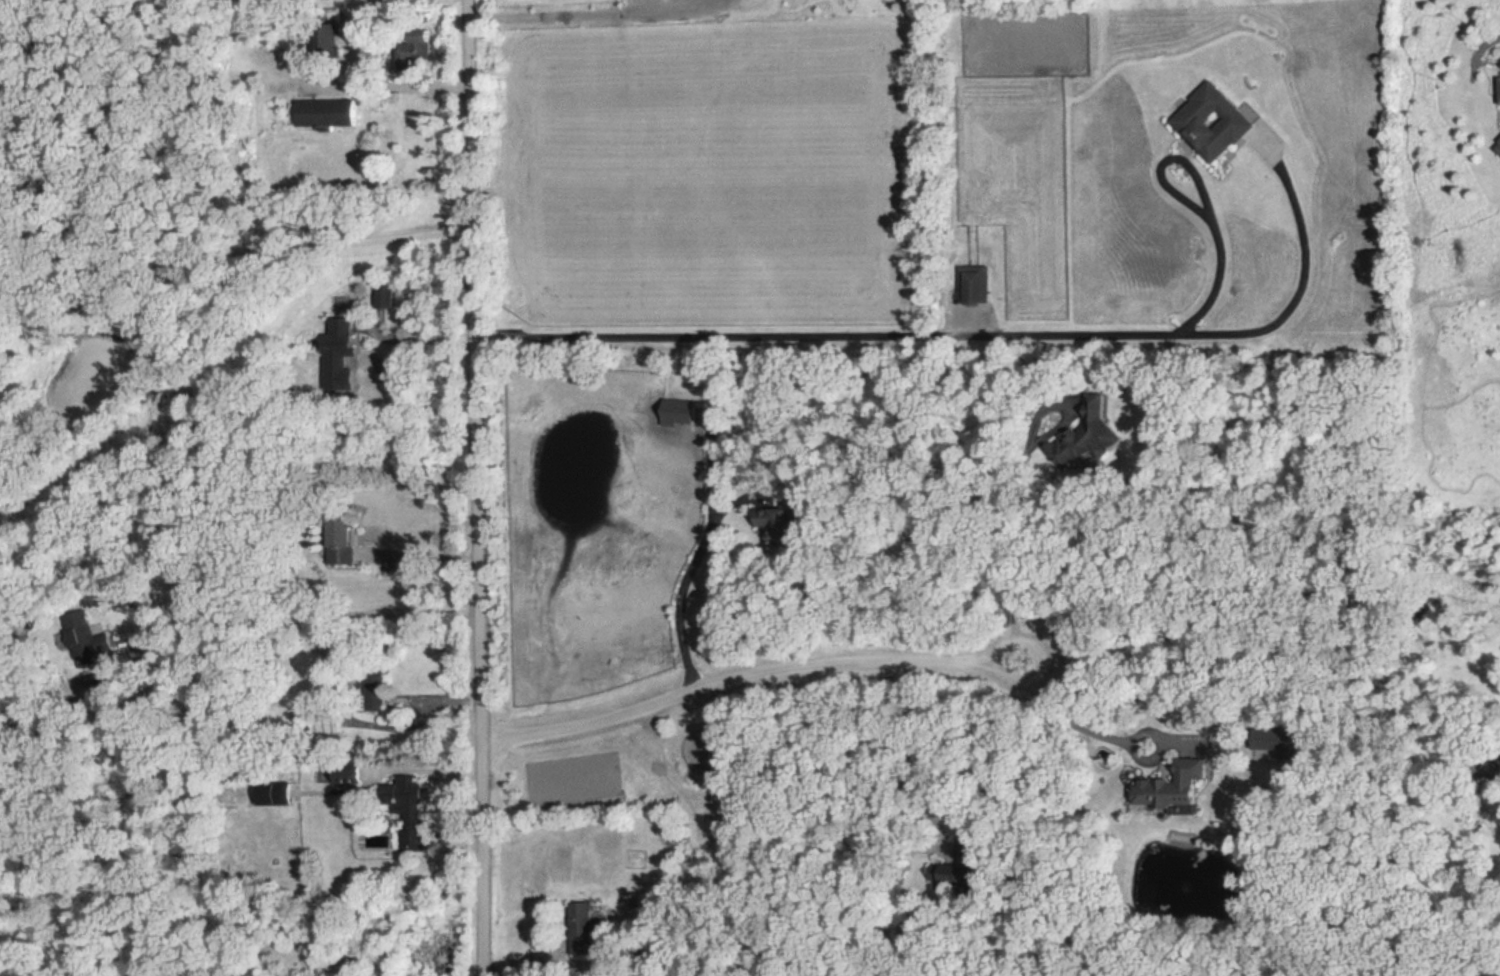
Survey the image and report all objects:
building: (329, 41)
building: (416, 50)
road: (389, 88)
building: (327, 113)
building: (1213, 123)
road: (229, 248)
road: (1303, 272)
building: (974, 285)
building: (385, 292)
road: (361, 323)
road: (975, 337)
road: (416, 339)
building: (340, 350)
building: (679, 412)
road: (477, 487)
building: (779, 524)
building: (342, 536)
road: (1011, 539)
road: (421, 555)
road: (686, 570)
road: (302, 617)
building: (88, 631)
road: (122, 668)
road: (747, 672)
building: (373, 684)
road: (417, 699)
building: (327, 719)
road: (416, 720)
road: (1073, 723)
road: (916, 755)
road: (383, 769)
building: (350, 770)
road: (372, 770)
building: (1177, 785)
building: (275, 790)
building: (409, 806)
building: (576, 938)

